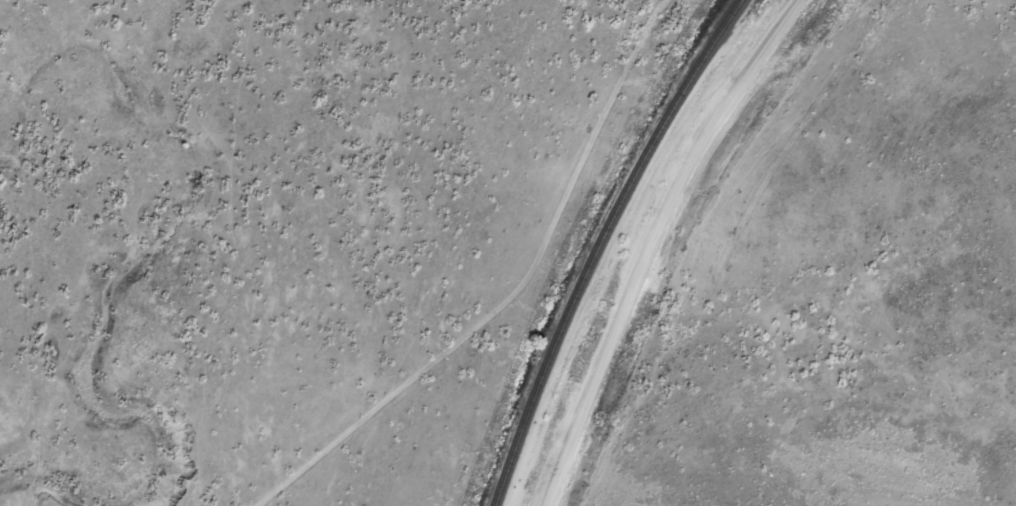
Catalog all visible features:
railway: (597, 243)
road: (655, 243)

